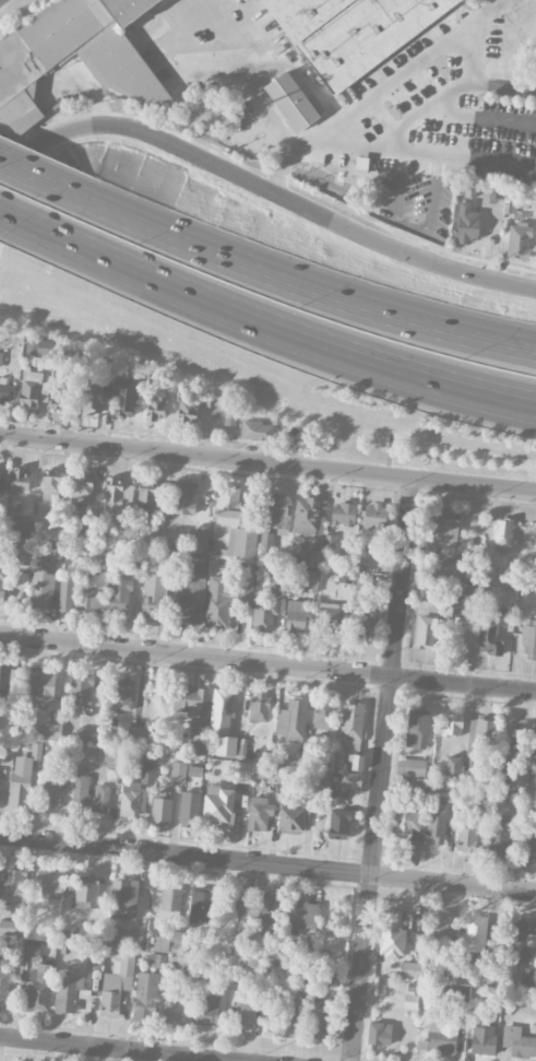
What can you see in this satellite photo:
railway: (0, 0)
building: (352, 31)
building: (118, 68)
road: (401, 78)
road: (245, 79)
road: (503, 85)
building: (290, 101)
road: (483, 116)
road: (419, 117)
road: (454, 161)
road: (277, 175)
road: (33, 176)
road: (264, 188)
building: (488, 194)
road: (8, 213)
building: (466, 223)
building: (519, 240)
road: (297, 280)
road: (271, 326)
building: (78, 356)
building: (29, 387)
building: (4, 391)
building: (59, 394)
building: (124, 397)
building: (92, 403)
building: (187, 405)
building: (156, 406)
building: (230, 413)
building: (257, 431)
road: (267, 462)
building: (19, 479)
building: (55, 483)
building: (82, 485)
building: (116, 497)
building: (183, 497)
building: (145, 503)
building: (228, 505)
building: (279, 514)
building: (343, 514)
building: (373, 516)
building: (24, 526)
building: (310, 529)
building: (502, 535)
building: (200, 539)
building: (241, 542)
building: (439, 544)
building: (57, 549)
building: (23, 551)
building: (17, 578)
building: (308, 580)
building: (364, 580)
building: (2, 581)
building: (245, 582)
building: (40, 588)
building: (65, 593)
building: (119, 594)
building: (191, 594)
building: (153, 597)
building: (270, 600)
building: (460, 602)
building: (295, 617)
building: (331, 620)
building: (361, 624)
building: (425, 625)
building: (490, 636)
building: (529, 639)
road: (267, 663)
building: (9, 680)
building: (39, 688)
building: (81, 688)
building: (121, 694)
building: (190, 700)
building: (259, 708)
building: (221, 711)
building: (322, 716)
building: (291, 720)
building: (451, 724)
building: (417, 730)
building: (50, 731)
building: (353, 733)
building: (85, 734)
building: (135, 734)
building: (196, 738)
building: (534, 739)
building: (181, 742)
building: (478, 742)
building: (225, 745)
building: (36, 750)
building: (112, 755)
building: (453, 765)
building: (410, 767)
building: (194, 769)
building: (241, 769)
road: (383, 769)
building: (178, 771)
building: (147, 773)
building: (321, 777)
building: (513, 777)
building: (20, 780)
building: (350, 782)
building: (52, 791)
building: (0, 792)
building: (88, 795)
building: (131, 800)
building: (160, 805)
building: (218, 806)
building: (189, 809)
building: (260, 813)
building: (291, 817)
building: (338, 824)
building: (436, 824)
building: (406, 829)
building: (468, 840)
building: (498, 840)
building: (527, 841)
road: (267, 864)
building: (50, 884)
building: (13, 886)
building: (90, 889)
building: (123, 899)
building: (170, 903)
building: (202, 906)
building: (267, 911)
building: (300, 917)
building: (438, 924)
building: (12, 928)
building: (474, 933)
building: (120, 935)
building: (392, 935)
building: (178, 941)
building: (517, 941)
building: (32, 952)
building: (94, 959)
building: (410, 969)
building: (116, 983)
building: (4, 985)
building: (39, 986)
building: (67, 992)
building: (145, 997)
building: (172, 1007)
building: (206, 1007)
building: (243, 1014)
building: (285, 1017)
building: (318, 1018)
building: (379, 1033)
building: (483, 1035)
building: (441, 1036)
building: (519, 1041)
road: (108, 1049)

